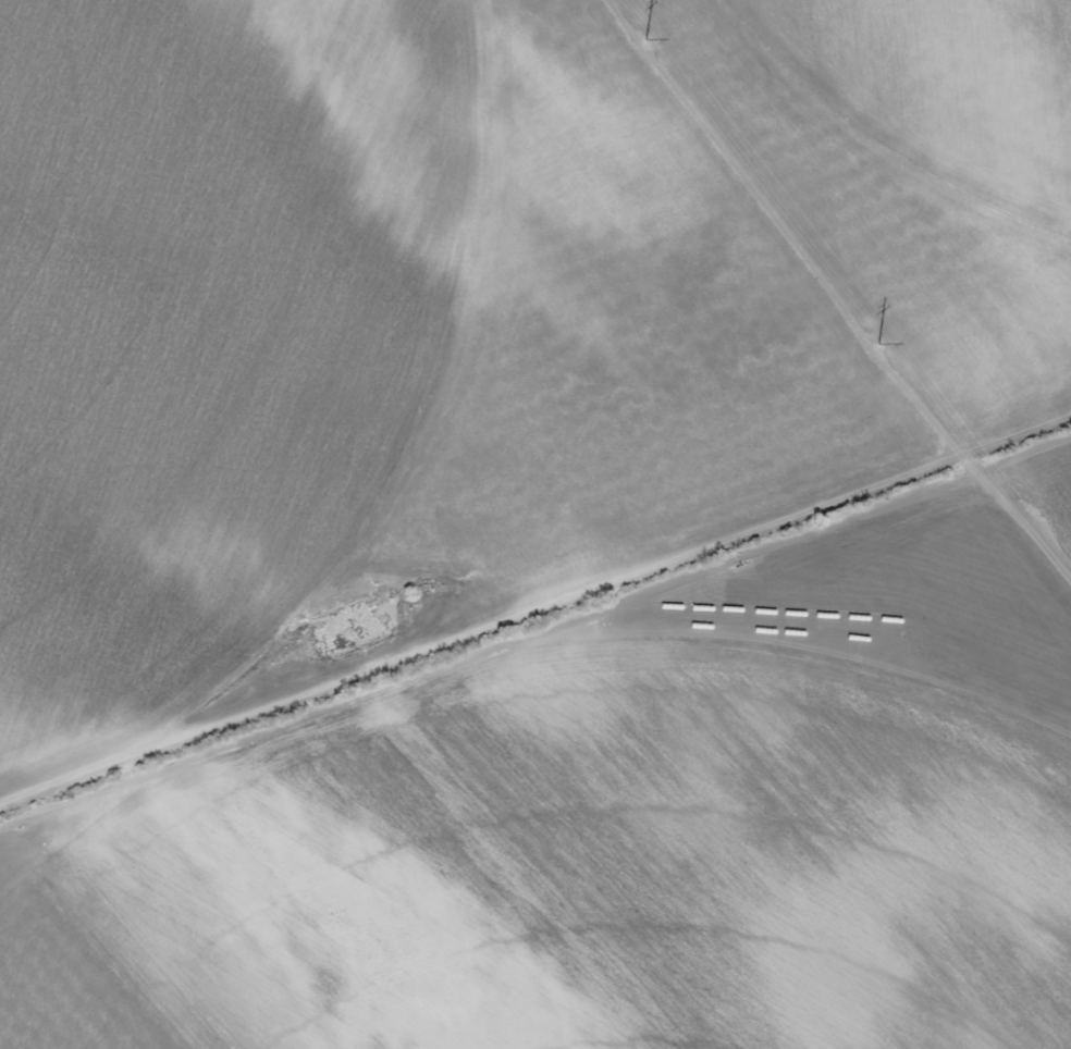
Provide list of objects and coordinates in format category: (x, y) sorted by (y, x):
power tower: (639, 33)
power tower: (870, 335)

